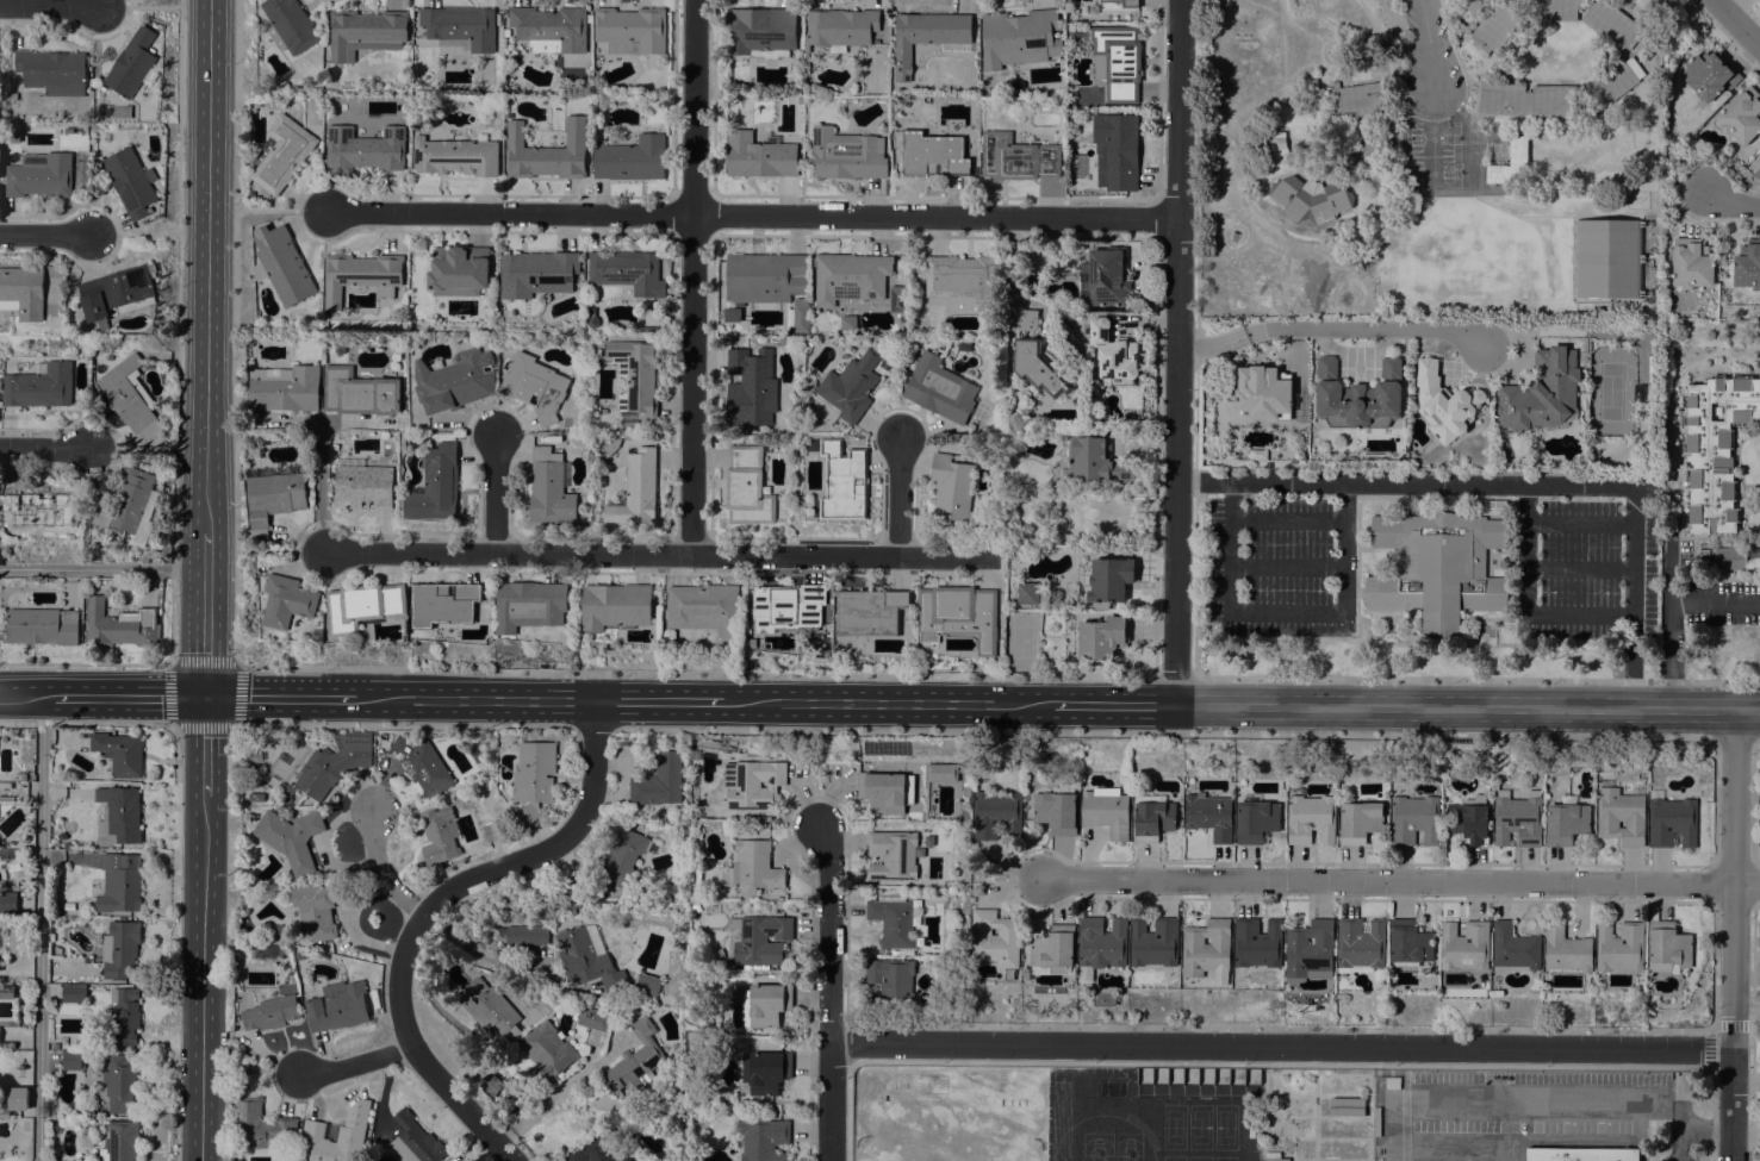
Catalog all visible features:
building: (1126, 2)
road: (50, 5)
road: (139, 6)
building: (1475, 6)
building: (1553, 8)
road: (1423, 19)
building: (1611, 24)
road: (1736, 24)
building: (290, 25)
building: (460, 27)
building: (840, 27)
building: (1494, 27)
building: (551, 29)
building: (632, 30)
building: (366, 32)
building: (506, 32)
building: (763, 32)
building: (928, 37)
building: (1019, 38)
road: (1459, 51)
road: (1430, 60)
building: (1119, 61)
building: (132, 63)
building: (54, 71)
building: (1709, 75)
building: (1612, 82)
building: (1528, 100)
building: (1357, 101)
building: (275, 104)
building: (1741, 116)
building: (1277, 143)
building: (365, 149)
building: (1117, 150)
building: (1370, 150)
building: (547, 152)
building: (938, 152)
building: (847, 154)
building: (281, 155)
building: (760, 155)
building: (456, 156)
building: (1018, 157)
building: (630, 158)
building: (1509, 164)
building: (1759, 166)
building: (41, 175)
building: (131, 181)
building: (1310, 199)
road: (1730, 201)
road: (282, 210)
road: (511, 212)
road: (935, 216)
road: (45, 233)
road: (119, 235)
road: (148, 235)
road: (207, 252)
building: (1606, 257)
building: (1691, 264)
building: (1747, 264)
building: (286, 266)
building: (459, 270)
building: (628, 270)
building: (536, 273)
building: (361, 276)
road: (692, 276)
building: (765, 276)
building: (850, 276)
building: (962, 277)
building: (1105, 277)
building: (24, 292)
building: (119, 292)
building: (897, 299)
building: (798, 317)
building: (592, 318)
building: (1025, 319)
building: (848, 322)
road: (1362, 326)
building: (643, 329)
road: (175, 332)
road: (236, 332)
road: (1195, 337)
road: (1211, 344)
road: (1175, 352)
building: (1113, 354)
building: (1040, 367)
building: (636, 375)
building: (454, 380)
building: (39, 386)
building: (534, 386)
building: (850, 386)
building: (751, 387)
building: (286, 388)
building: (939, 388)
building: (359, 392)
building: (1637, 392)
building: (1542, 393)
building: (1270, 394)
building: (1358, 395)
building: (130, 397)
building: (1444, 402)
building: (608, 447)
road: (44, 449)
building: (1715, 449)
road: (131, 450)
building: (1097, 458)
building: (842, 481)
building: (363, 485)
building: (436, 485)
road: (1516, 485)
road: (322, 487)
building: (549, 487)
building: (747, 487)
building: (952, 488)
building: (635, 489)
road: (493, 493)
road: (897, 495)
building: (273, 499)
building: (1494, 504)
building: (130, 506)
building: (41, 508)
road: (1581, 523)
road: (1528, 550)
road: (279, 551)
road: (663, 553)
building: (1727, 557)
building: (1437, 568)
road: (101, 569)
road: (1580, 569)
building: (1109, 579)
building: (1028, 593)
building: (1056, 595)
road: (204, 600)
building: (287, 601)
building: (444, 603)
building: (363, 605)
building: (529, 605)
building: (616, 606)
building: (788, 606)
building: (704, 607)
building: (870, 611)
road: (1288, 611)
road: (1672, 612)
building: (959, 614)
road: (1581, 616)
building: (120, 625)
building: (41, 626)
building: (671, 635)
building: (1102, 637)
road: (85, 663)
road: (235, 664)
road: (695, 672)
road: (1174, 676)
road: (1476, 679)
road: (26, 695)
road: (129, 697)
traffic signals: (204, 697)
road: (280, 698)
road: (475, 699)
road: (654, 700)
road: (882, 703)
road: (1111, 705)
road: (1467, 707)
road: (86, 724)
road: (402, 726)
road: (592, 726)
road: (1163, 734)
road: (1759, 738)
road: (1735, 739)
road: (203, 745)
building: (119, 753)
building: (475, 754)
building: (334, 762)
building: (421, 763)
building: (939, 775)
building: (534, 776)
building: (658, 780)
building: (752, 784)
building: (288, 789)
building: (882, 791)
building: (256, 797)
building: (7, 798)
building: (1106, 810)
building: (1055, 812)
building: (119, 813)
building: (1619, 813)
building: (996, 814)
building: (1209, 816)
building: (1517, 817)
building: (1152, 818)
building: (1255, 819)
building: (1311, 819)
building: (1413, 819)
building: (1468, 820)
building: (1360, 822)
building: (1566, 822)
building: (1672, 823)
building: (492, 831)
building: (439, 837)
building: (291, 838)
building: (67, 845)
building: (895, 855)
building: (622, 857)
building: (751, 868)
road: (383, 869)
road: (1389, 882)
building: (119, 884)
road: (1747, 885)
building: (572, 888)
building: (8, 903)
building: (69, 906)
building: (696, 907)
road: (428, 909)
building: (318, 910)
building: (893, 922)
road: (39, 929)
building: (525, 934)
road: (1734, 935)
building: (19, 936)
building: (758, 938)
building: (995, 940)
building: (1155, 942)
building: (1410, 942)
building: (1101, 944)
building: (1361, 944)
building: (1464, 945)
building: (1619, 945)
building: (1256, 947)
building: (1515, 947)
building: (1668, 947)
building: (119, 948)
building: (1055, 948)
building: (1207, 949)
building: (1310, 951)
building: (1566, 953)
building: (590, 959)
building: (722, 963)
road: (200, 979)
building: (890, 982)
building: (648, 984)
building: (6, 991)
road: (829, 991)
building: (73, 993)
building: (546, 1004)
building: (769, 1004)
building: (338, 1009)
building: (491, 1009)
building: (270, 1012)
building: (676, 1015)
building: (123, 1016)
building: (593, 1024)
building: (55, 1045)
road: (1280, 1047)
building: (548, 1050)
building: (75, 1059)
building: (636, 1060)
road: (355, 1062)
road: (1275, 1063)
road: (262, 1069)
building: (765, 1072)
building: (120, 1085)
building: (491, 1085)
road: (564, 1088)
building: (18, 1098)
road: (1525, 1098)
building: (1347, 1106)
road: (1679, 1109)
building: (259, 1124)
park: (1175, 1126)
park: (1200, 1128)
park: (1226, 1128)
road: (1510, 1129)
road: (1679, 1129)
road: (1719, 1130)
building: (764, 1140)
building: (120, 1141)
building: (416, 1141)
track: (1102, 1141)
park: (1096, 1144)
park: (1128, 1144)
building: (323, 1146)
building: (595, 1150)
building: (1581, 1154)
park: (1096, 1157)
building: (626, 1159)
park: (1127, 1159)
park: (1174, 1159)
park: (1199, 1159)
park: (1225, 1159)
building: (1277, 1160)

